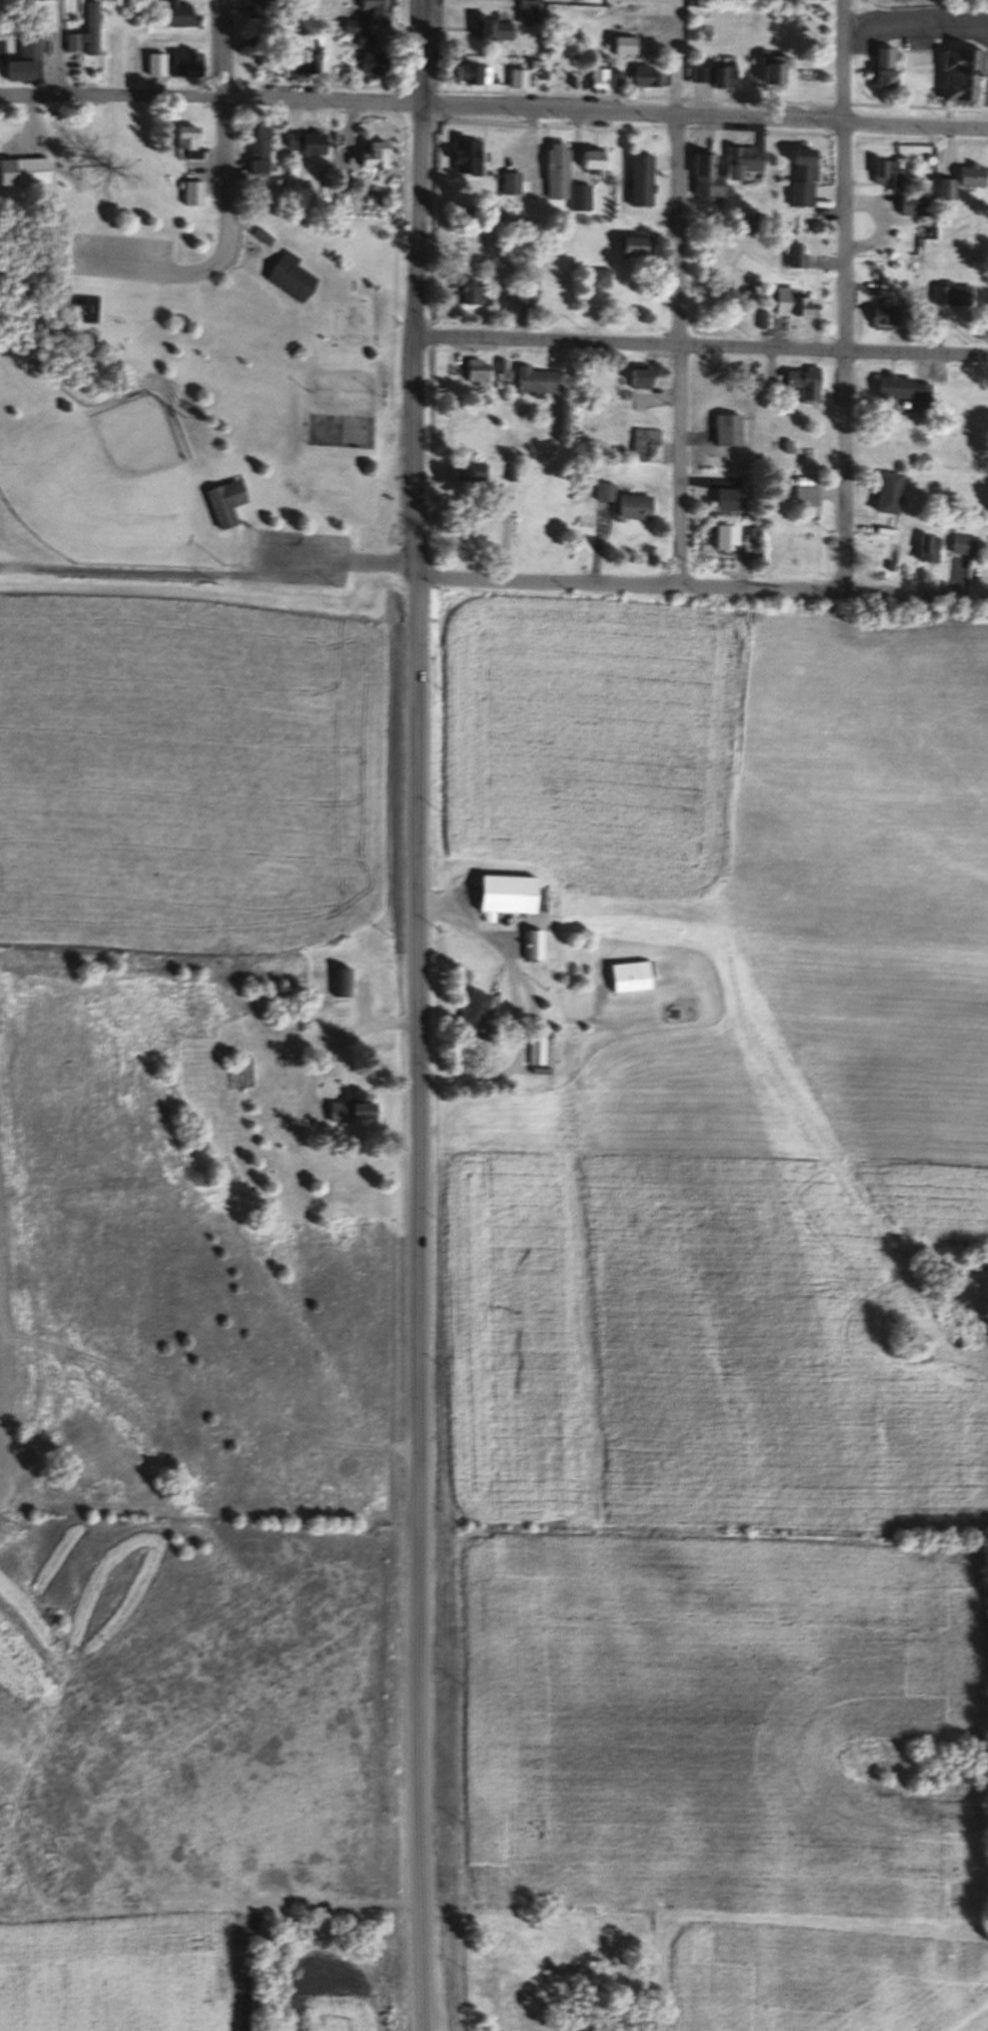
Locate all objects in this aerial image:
building: (259, 9)
building: (526, 9)
building: (376, 10)
building: (180, 15)
road: (917, 23)
parking lot: (920, 23)
building: (355, 25)
building: (92, 27)
building: (491, 28)
building: (363, 40)
building: (74, 43)
building: (622, 44)
road: (59, 47)
road: (403, 51)
road: (440, 52)
building: (597, 57)
building: (24, 58)
building: (305, 60)
building: (374, 62)
building: (183, 63)
building: (282, 66)
building: (884, 67)
building: (160, 69)
building: (771, 69)
building: (960, 72)
building: (471, 73)
building: (645, 76)
building: (718, 76)
building: (515, 77)
building: (616, 78)
building: (598, 79)
road: (616, 94)
road: (212, 96)
road: (706, 116)
road: (519, 125)
building: (307, 141)
building: (190, 142)
building: (259, 148)
building: (372, 153)
building: (463, 155)
building: (591, 157)
road: (226, 158)
building: (743, 159)
building: (30, 171)
building: (555, 171)
building: (883, 173)
building: (971, 174)
building: (705, 176)
building: (639, 179)
building: (800, 179)
building: (509, 182)
building: (947, 188)
building: (194, 192)
building: (581, 196)
building: (338, 200)
building: (262, 235)
building: (632, 244)
building: (794, 255)
parking lot: (121, 256)
parking lot: (154, 261)
building: (289, 275)
building: (599, 275)
road: (417, 286)
building: (530, 287)
building: (466, 290)
building: (948, 293)
road: (845, 296)
building: (788, 301)
building: (878, 313)
building: (760, 318)
road: (702, 343)
road: (679, 351)
building: (475, 369)
building: (639, 374)
building: (534, 378)
building: (804, 381)
building: (899, 386)
park: (207, 399)
building: (727, 428)
building: (645, 444)
building: (462, 467)
building: (510, 473)
park: (109, 490)
building: (885, 491)
building: (603, 492)
building: (804, 498)
building: (726, 499)
building: (224, 501)
building: (634, 507)
road: (864, 524)
road: (506, 533)
building: (723, 536)
road: (598, 544)
building: (962, 544)
building: (927, 547)
parking lot: (301, 557)
road: (349, 558)
road: (958, 576)
road: (686, 586)
building: (507, 893)
building: (534, 944)
road: (500, 946)
building: (632, 977)
building: (343, 982)
building: (472, 1008)
building: (673, 1014)
silo: (673, 1014)
road: (340, 1039)
crop: (495, 1046)
building: (537, 1050)
building: (352, 1109)
road: (421, 1302)

